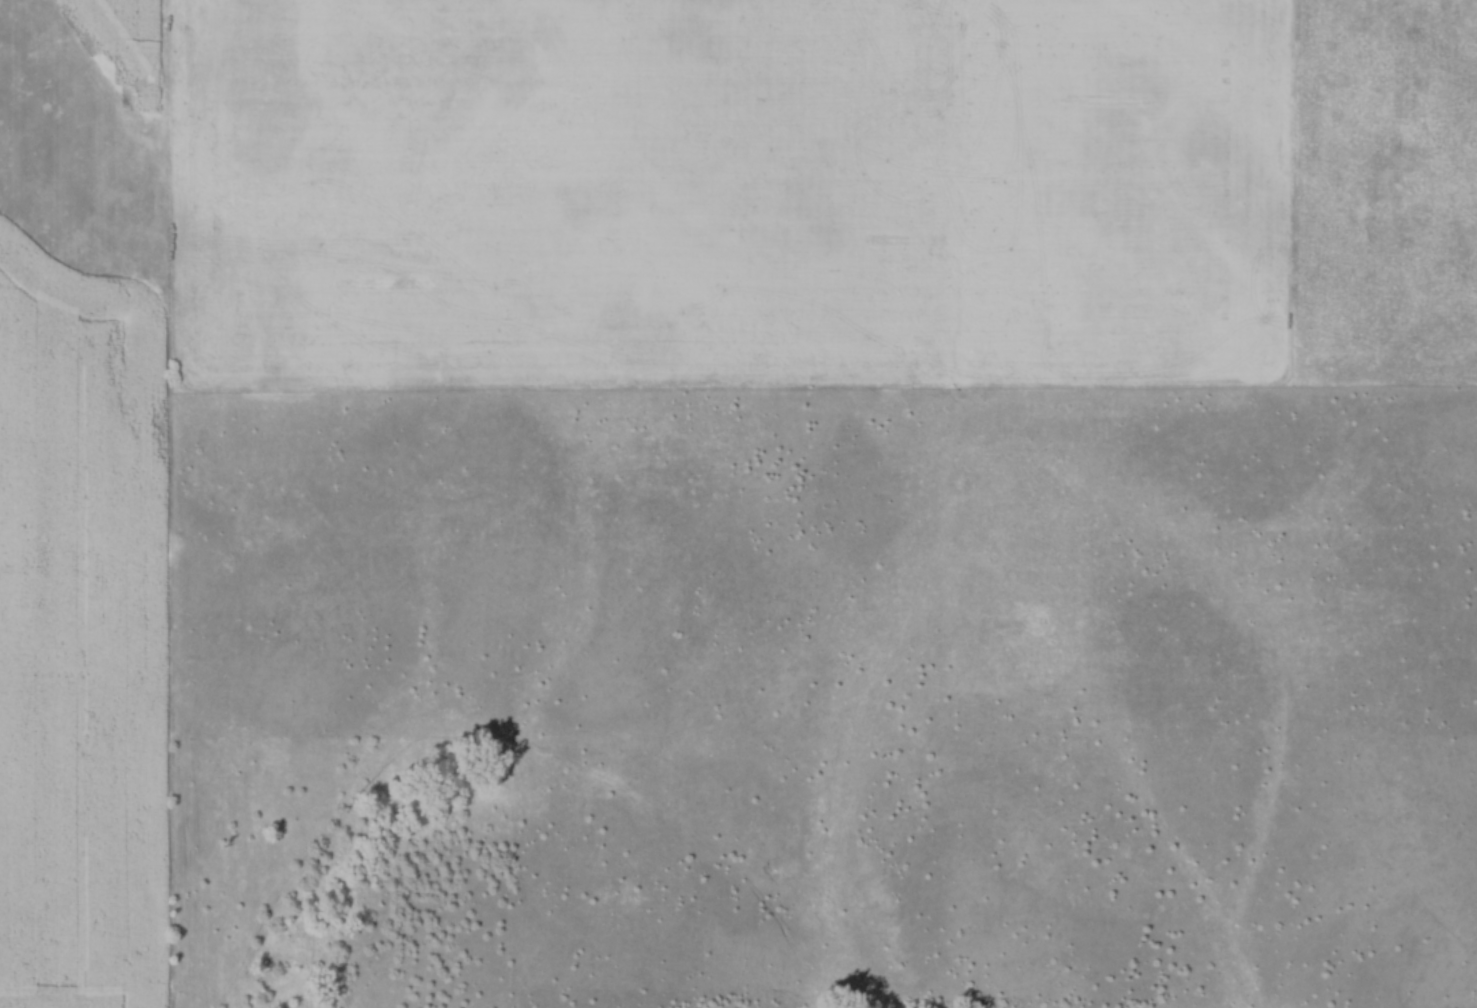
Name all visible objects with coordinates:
crop: (83, 509)

